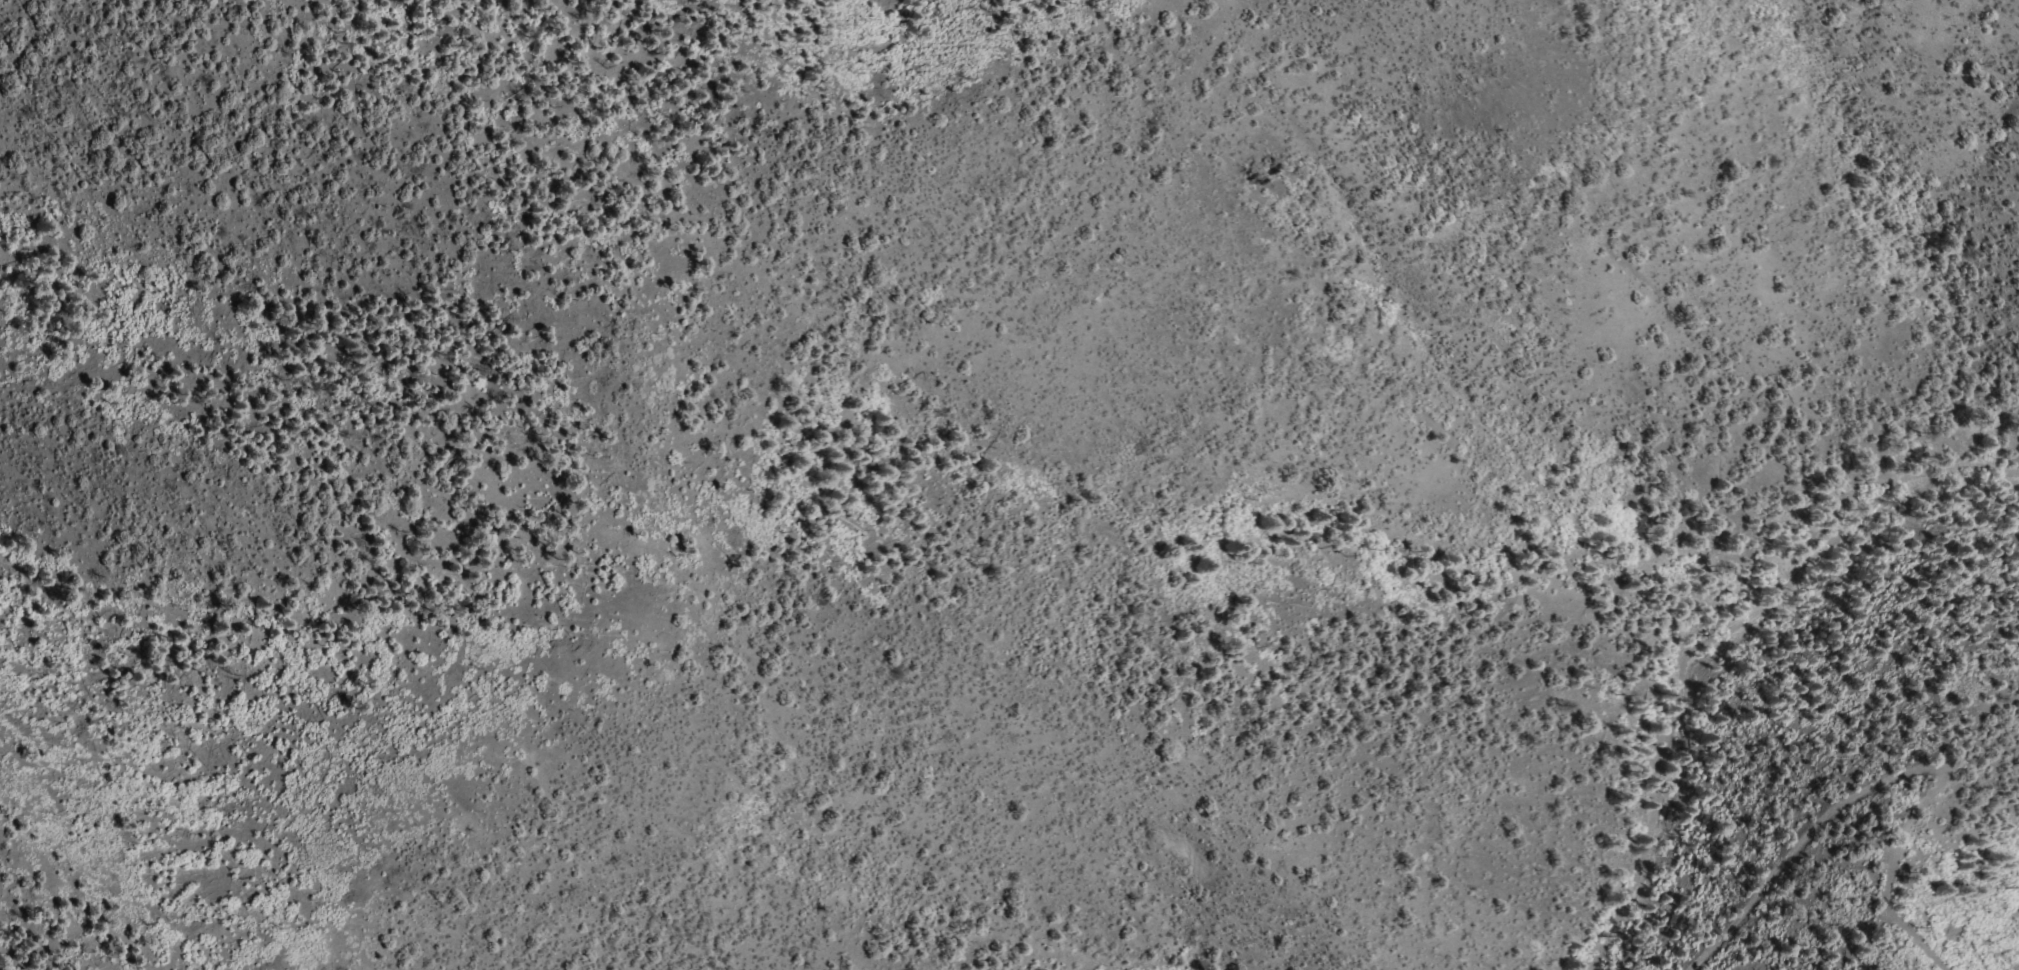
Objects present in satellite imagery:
road: (1706, 637)

